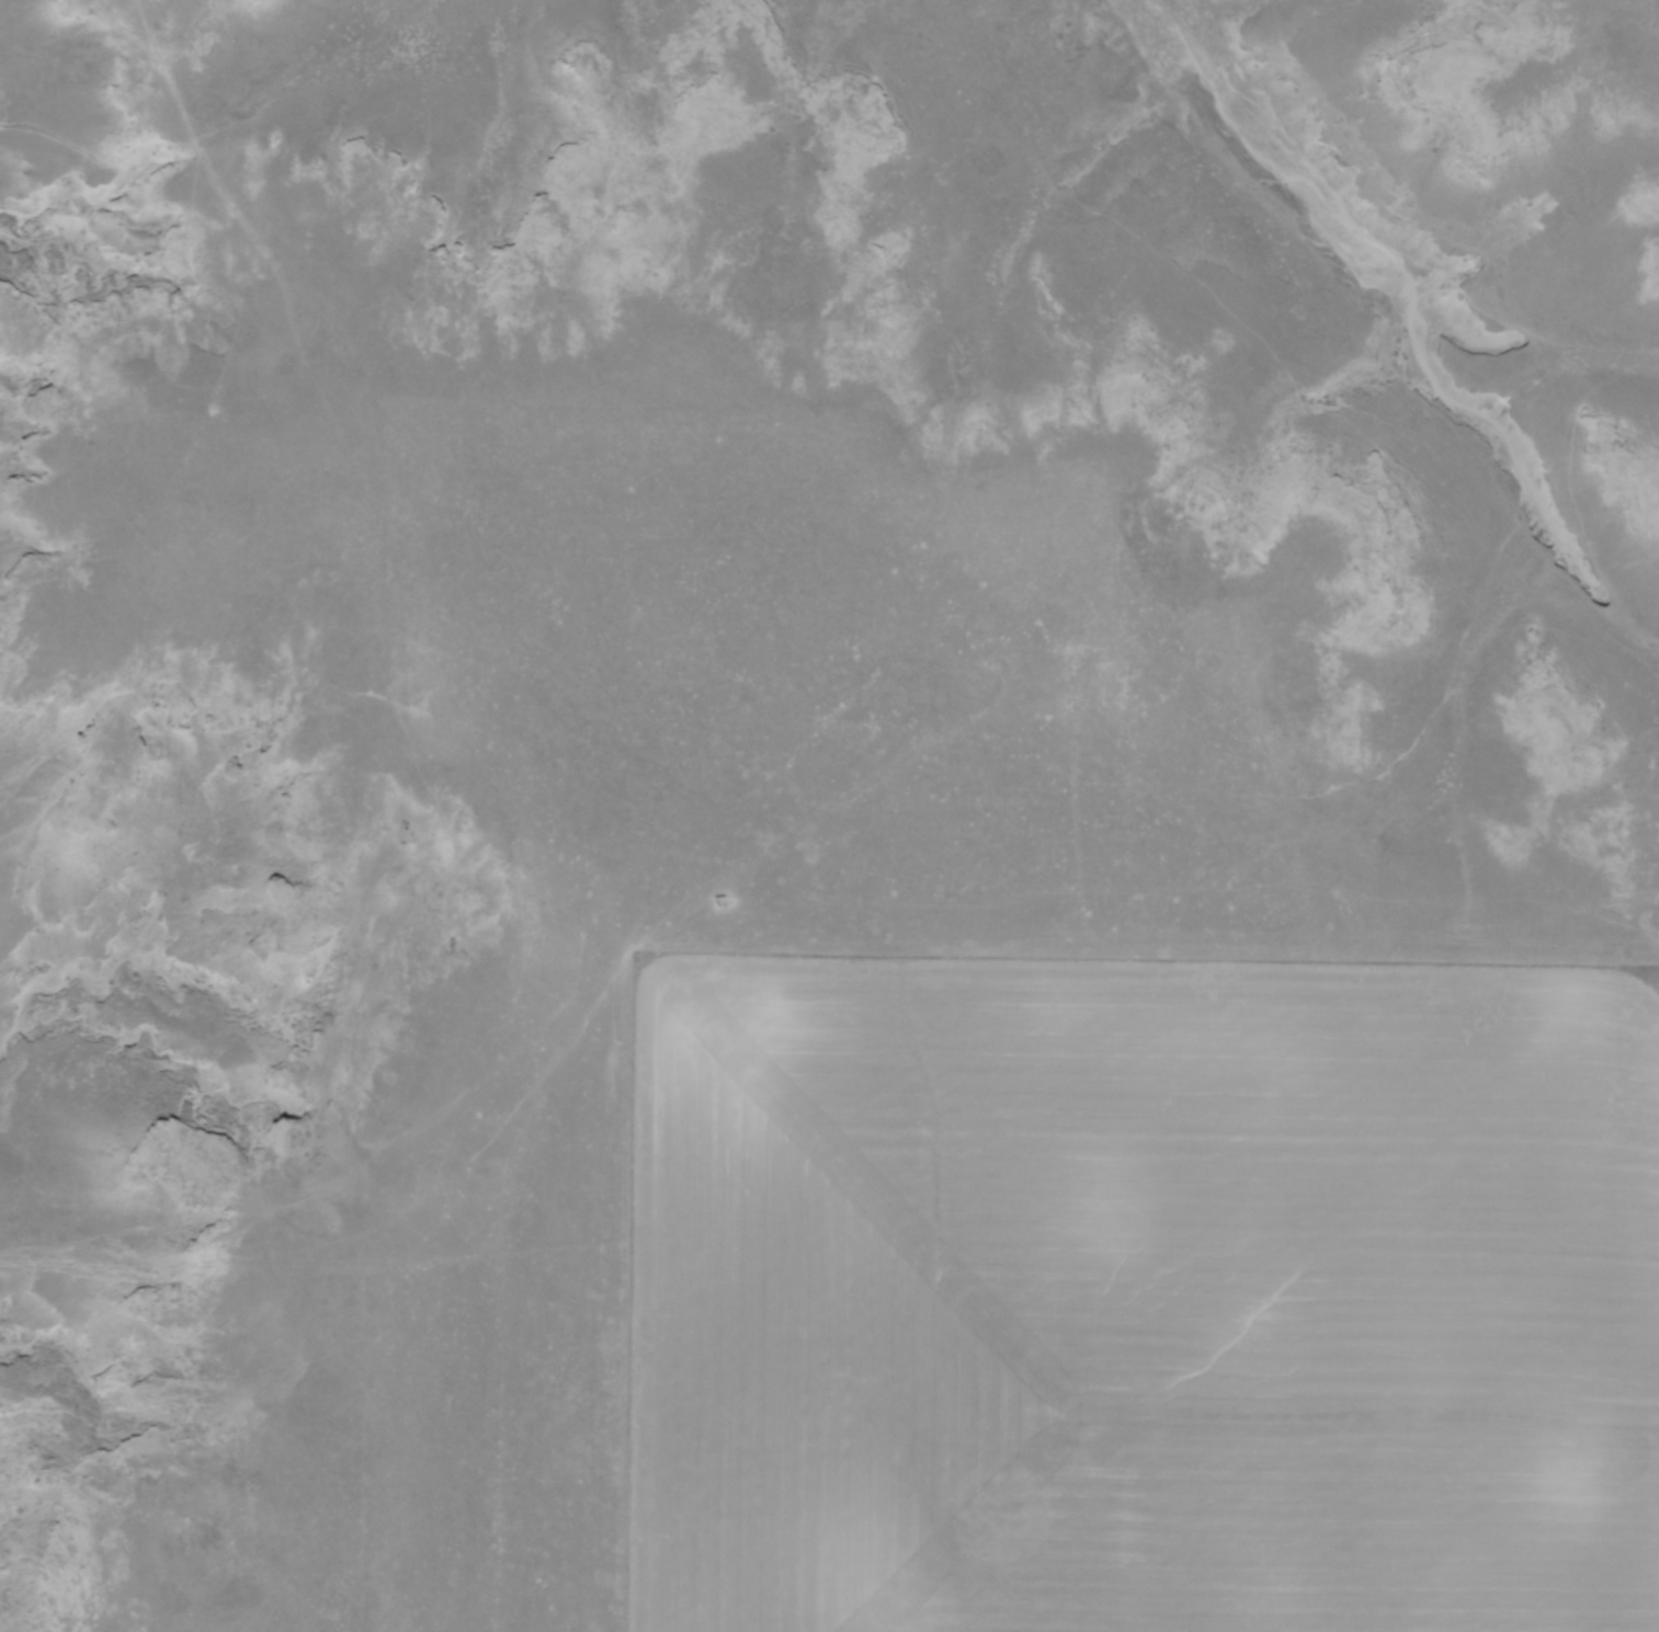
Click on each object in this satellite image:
crop: (1145, 1296)

